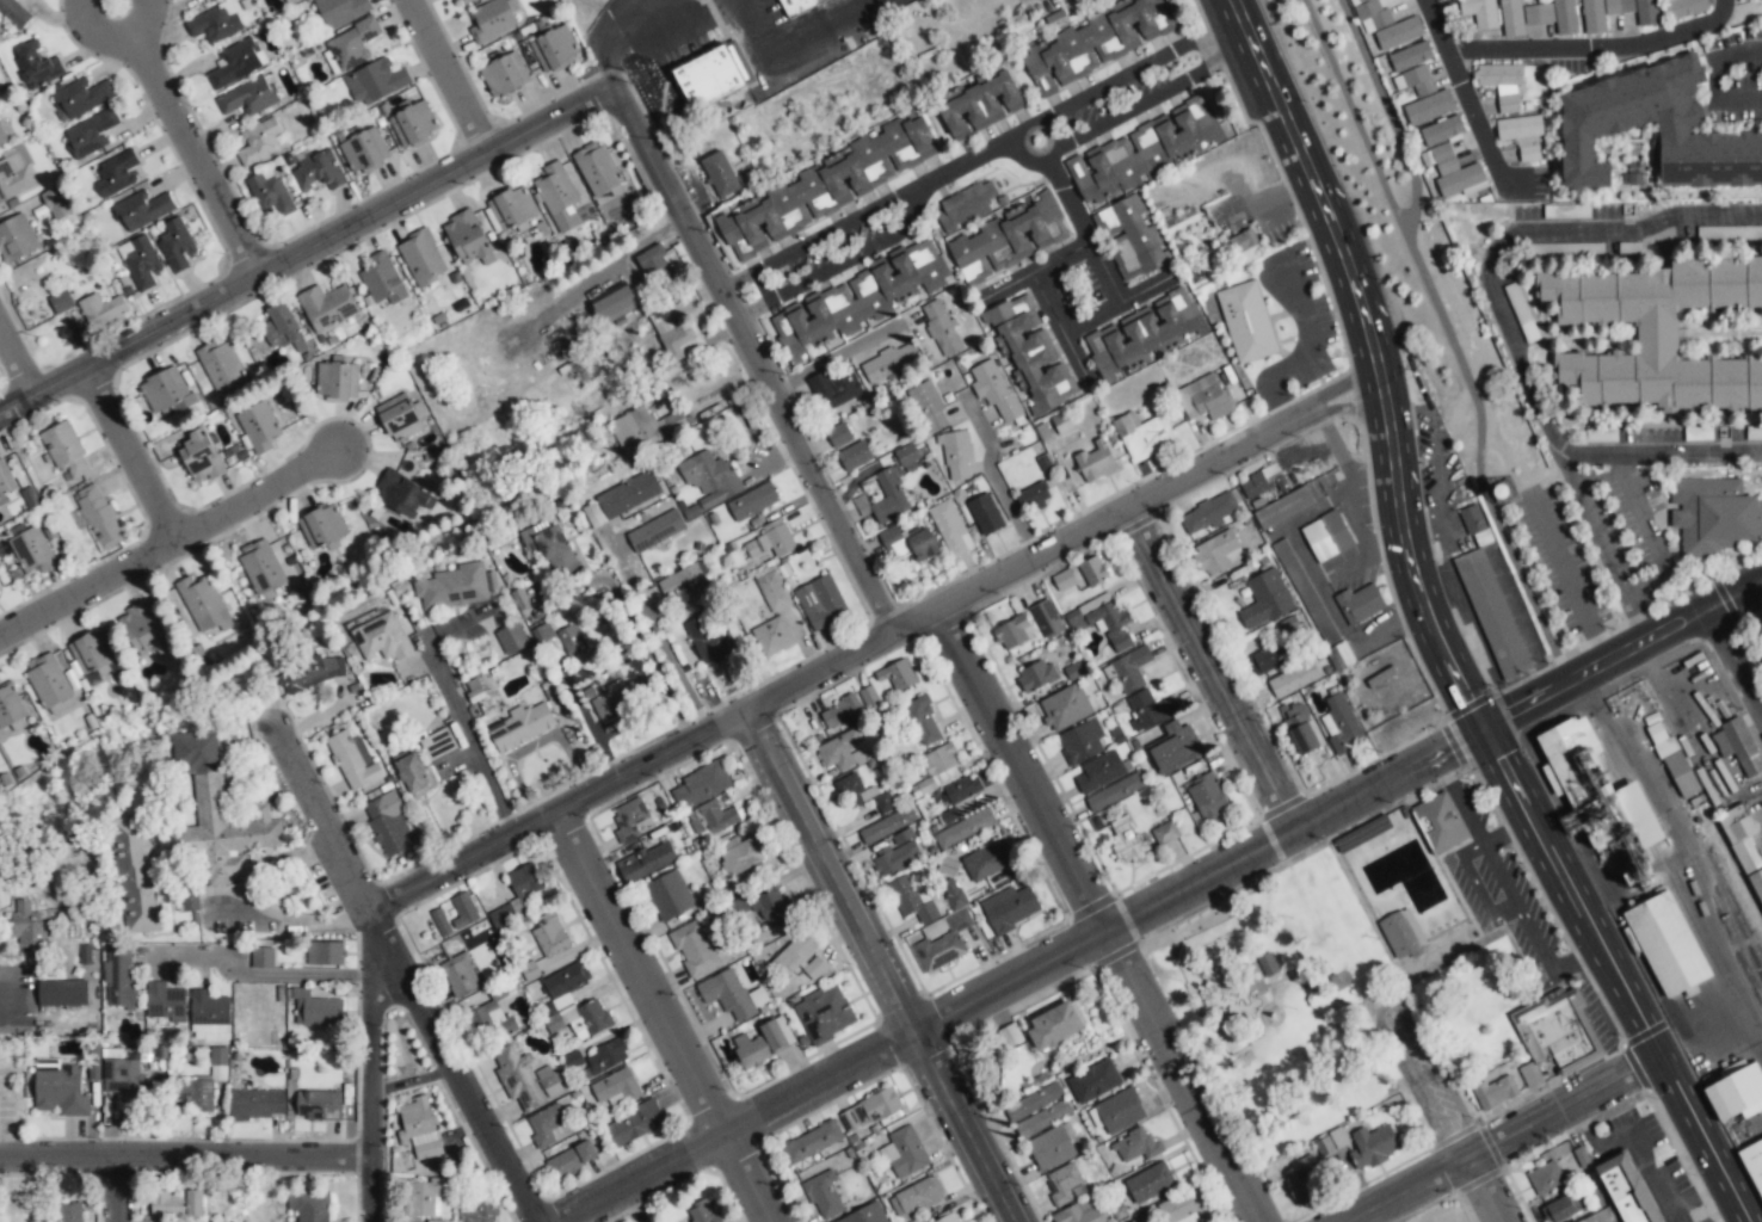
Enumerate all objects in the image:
road: (111, 0)
road: (112, 0)
building: (455, 0)
building: (466, 0)
building: (289, 1)
building: (783, 4)
building: (1684, 7)
building: (340, 11)
building: (14, 12)
building: (1646, 12)
building: (1478, 13)
building: (1602, 13)
building: (1372, 14)
building: (1523, 16)
building: (1565, 17)
building: (491, 20)
building: (215, 23)
building: (1398, 32)
road: (610, 35)
building: (1095, 42)
building: (351, 45)
building: (554, 48)
road: (799, 48)
road: (1591, 49)
building: (1410, 56)
building: (236, 62)
building: (36, 64)
road: (445, 76)
building: (500, 76)
building: (708, 76)
building: (1415, 80)
road: (1711, 81)
building: (376, 82)
building: (1502, 84)
road: (1274, 94)
building: (80, 97)
building: (247, 97)
road: (581, 99)
building: (980, 103)
building: (1428, 107)
road: (1470, 107)
building: (413, 124)
building: (1594, 129)
building: (1441, 130)
building: (90, 132)
building: (1521, 134)
building: (2, 138)
road: (186, 138)
building: (257, 142)
building: (1142, 150)
building: (361, 152)
road: (977, 153)
building: (596, 168)
building: (319, 171)
building: (113, 173)
building: (1455, 173)
building: (723, 174)
building: (14, 177)
building: (826, 186)
building: (269, 192)
building: (557, 196)
building: (55, 203)
building: (966, 206)
building: (511, 208)
building: (142, 209)
building: (1558, 211)
building: (466, 236)
building: (1008, 236)
building: (16, 239)
building: (1132, 239)
building: (177, 245)
building: (420, 257)
building: (140, 261)
building: (655, 266)
building: (381, 279)
building: (857, 298)
building: (60, 302)
building: (614, 302)
building: (326, 307)
building: (101, 309)
road: (1105, 316)
road: (1505, 320)
building: (1246, 321)
building: (279, 326)
building: (941, 328)
building: (1144, 332)
building: (676, 334)
building: (1655, 334)
road: (1305, 351)
building: (1028, 353)
road: (837, 357)
road: (16, 360)
building: (888, 363)
building: (340, 379)
building: (834, 387)
building: (993, 389)
building: (166, 390)
building: (1205, 399)
building: (929, 406)
building: (399, 416)
building: (1061, 422)
building: (258, 426)
building: (641, 427)
building: (1754, 433)
building: (838, 434)
railway: (1485, 434)
building: (1601, 434)
building: (1142, 436)
building: (64, 451)
road: (1661, 452)
road: (129, 453)
building: (199, 455)
building: (854, 455)
building: (956, 455)
building: (907, 457)
building: (1095, 461)
road: (1394, 463)
building: (709, 477)
building: (5, 479)
road: (993, 480)
building: (1261, 482)
building: (401, 493)
road: (253, 496)
building: (889, 496)
building: (1031, 496)
building: (621, 499)
building: (752, 501)
building: (1282, 507)
building: (1207, 513)
building: (985, 514)
building: (1713, 514)
building: (98, 516)
building: (1472, 519)
building: (322, 525)
building: (949, 527)
building: (654, 531)
road: (1649, 537)
building: (771, 539)
building: (1318, 541)
road: (1065, 542)
building: (908, 543)
building: (552, 548)
building: (32, 549)
road: (1299, 550)
building: (1216, 553)
road: (1361, 558)
building: (260, 567)
building: (1092, 570)
building: (1062, 579)
road: (1566, 585)
building: (685, 586)
road: (86, 587)
building: (454, 587)
building: (771, 590)
building: (1305, 592)
building: (0, 595)
building: (1264, 599)
building: (820, 601)
building: (1360, 603)
building: (203, 606)
building: (1492, 613)
building: (1046, 618)
building: (1102, 621)
building: (142, 628)
park: (1751, 631)
building: (542, 632)
building: (1012, 632)
road: (660, 635)
building: (771, 636)
building: (383, 638)
building: (511, 638)
building: (706, 641)
building: (572, 643)
building: (92, 654)
road: (1738, 654)
building: (1339, 655)
road: (1622, 656)
building: (1263, 660)
building: (1128, 669)
building: (897, 674)
road: (1205, 674)
building: (1036, 675)
building: (1293, 679)
building: (50, 684)
building: (622, 695)
building: (867, 695)
traffic signals: (1468, 701)
building: (11, 706)
building: (1064, 708)
building: (1150, 709)
building: (842, 710)
traffic signals: (1507, 720)
building: (923, 721)
building: (1339, 723)
building: (520, 726)
building: (1300, 729)
road: (466, 736)
building: (1080, 741)
building: (438, 743)
building: (1737, 746)
building: (1173, 747)
building: (840, 751)
traffic signals: (1449, 751)
traffic signals: (1499, 757)
building: (1671, 758)
building: (352, 759)
building: (941, 764)
building: (1098, 771)
building: (413, 772)
building: (701, 784)
building: (962, 788)
building: (1114, 792)
building: (1598, 792)
building: (862, 794)
building: (1206, 796)
road: (560, 810)
building: (711, 817)
building: (629, 819)
building: (387, 821)
building: (1441, 823)
building: (887, 825)
building: (963, 828)
building: (1164, 833)
building: (187, 834)
building: (1741, 835)
building: (1127, 840)
building: (897, 853)
building: (740, 856)
building: (987, 859)
building: (646, 862)
road: (1201, 882)
building: (1756, 883)
building: (523, 884)
road: (1573, 894)
building: (669, 895)
building: (955, 899)
building: (911, 900)
building: (771, 908)
building: (1009, 908)
building: (461, 911)
railway: (1732, 912)
road: (218, 914)
building: (501, 916)
road: (1091, 918)
railway: (1730, 920)
building: (439, 921)
parking lot: (1521, 922)
building: (27, 928)
railway: (1726, 928)
building: (549, 934)
building: (1401, 934)
road: (390, 943)
building: (943, 944)
building: (1665, 944)
building: (695, 948)
building: (325, 953)
building: (263, 957)
building: (799, 957)
road: (881, 965)
building: (1269, 965)
road: (255, 974)
building: (458, 975)
building: (119, 977)
road: (1403, 980)
building: (62, 992)
building: (731, 994)
building: (165, 1002)
building: (563, 1002)
park: (1281, 1006)
building: (316, 1010)
building: (209, 1012)
building: (824, 1013)
road: (666, 1017)
building: (491, 1019)
building: (1054, 1025)
building: (1553, 1036)
building: (763, 1042)
building: (597, 1060)
road: (374, 1066)
parking lot: (1427, 1074)
building: (1529, 1074)
building: (123, 1075)
road: (417, 1079)
building: (524, 1079)
building: (1093, 1080)
building: (201, 1085)
building: (616, 1086)
building: (58, 1088)
building: (1735, 1091)
building: (1495, 1092)
building: (1033, 1101)
building: (257, 1104)
building: (318, 1104)
building: (869, 1110)
building: (1116, 1111)
building: (1042, 1117)
road: (1438, 1117)
building: (635, 1123)
building: (547, 1125)
building: (418, 1127)
road: (738, 1127)
road: (1507, 1138)
road: (1707, 1138)
building: (811, 1142)
building: (1136, 1146)
building: (1049, 1148)
building: (905, 1150)
road: (245, 1155)
road: (58, 1158)
building: (571, 1159)
road: (1645, 1161)
building: (1754, 1161)
building: (1544, 1177)
building: (1300, 1178)
building: (1061, 1183)
building: (1150, 1183)
road: (117, 1189)
building: (1626, 1189)
building: (823, 1195)
building: (427, 1197)
building: (916, 1197)
building: (175, 1204)
building: (309, 1205)
building: (1558, 1209)
building: (476, 1210)
building: (1178, 1210)
building: (69, 1211)
building: (702, 1211)
building: (1080, 1211)
building: (865, 1215)
building: (1602, 1215)
building: (947, 1217)
building: (150, 1221)
building: (1132, 1221)
road: (1749, 1221)

